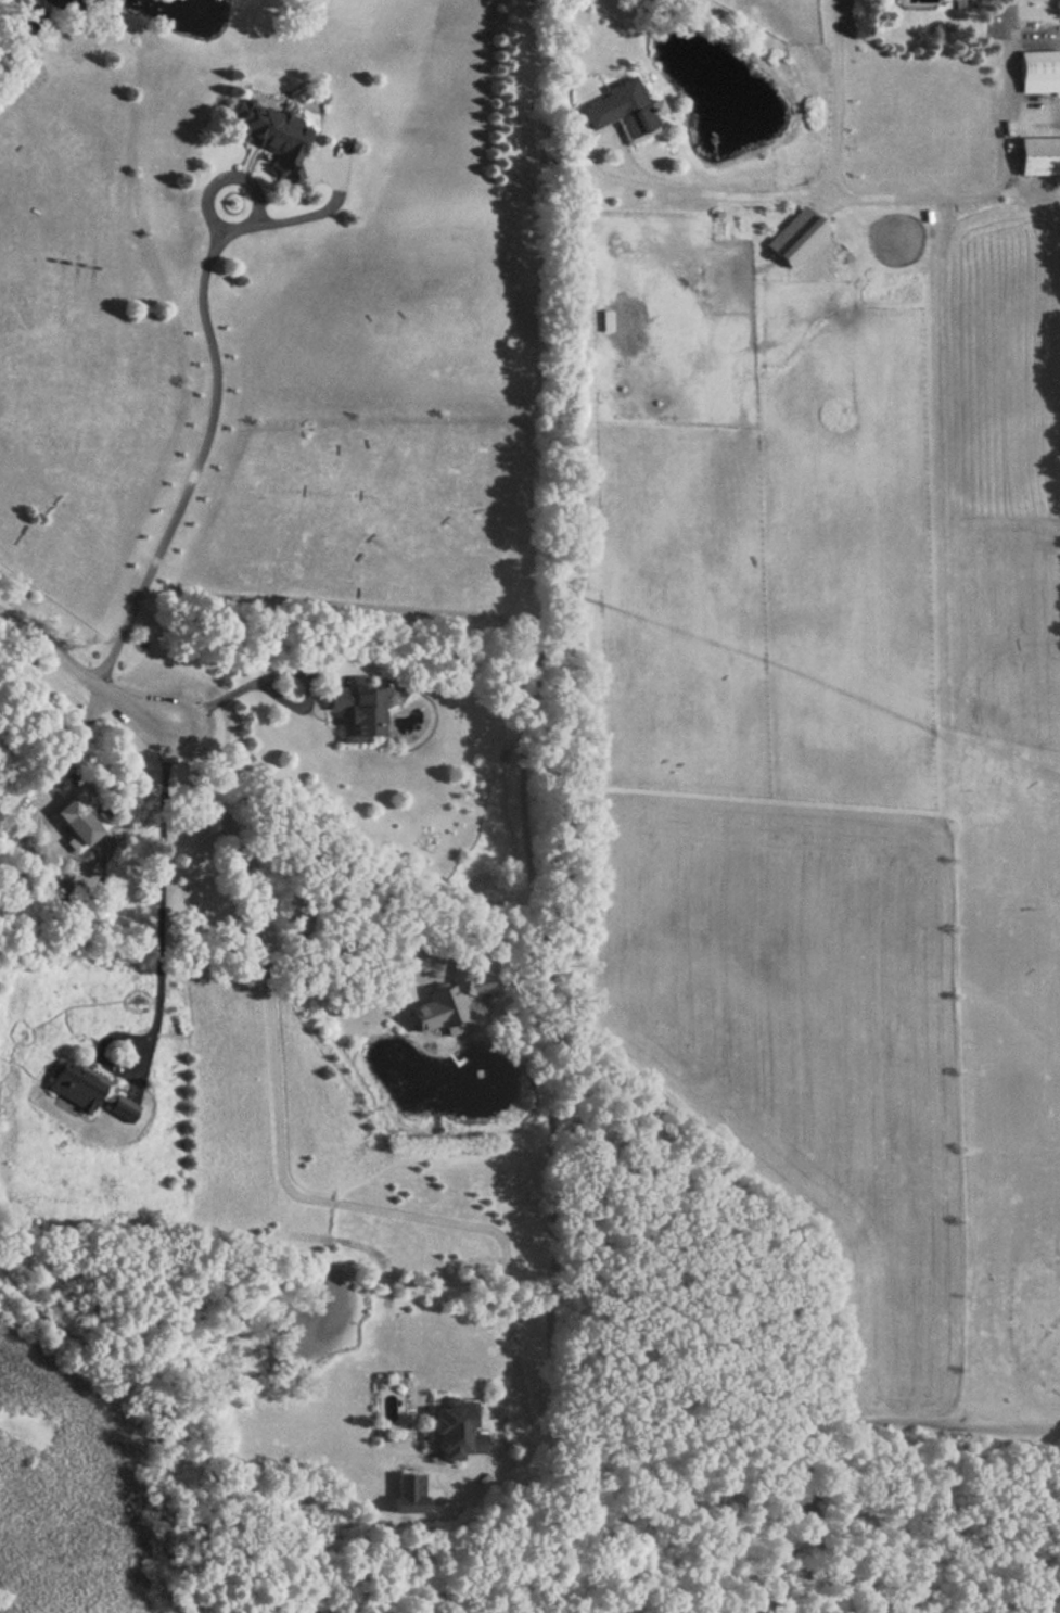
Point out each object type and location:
road: (834, 98)
building: (625, 110)
building: (270, 132)
building: (1038, 155)
road: (230, 176)
road: (907, 195)
road: (328, 204)
building: (794, 237)
road: (201, 459)
road: (278, 673)
road: (85, 675)
building: (355, 708)
road: (296, 846)
road: (162, 885)
building: (443, 1004)
building: (86, 1092)
road: (277, 1131)
building: (454, 1432)
building: (408, 1493)

